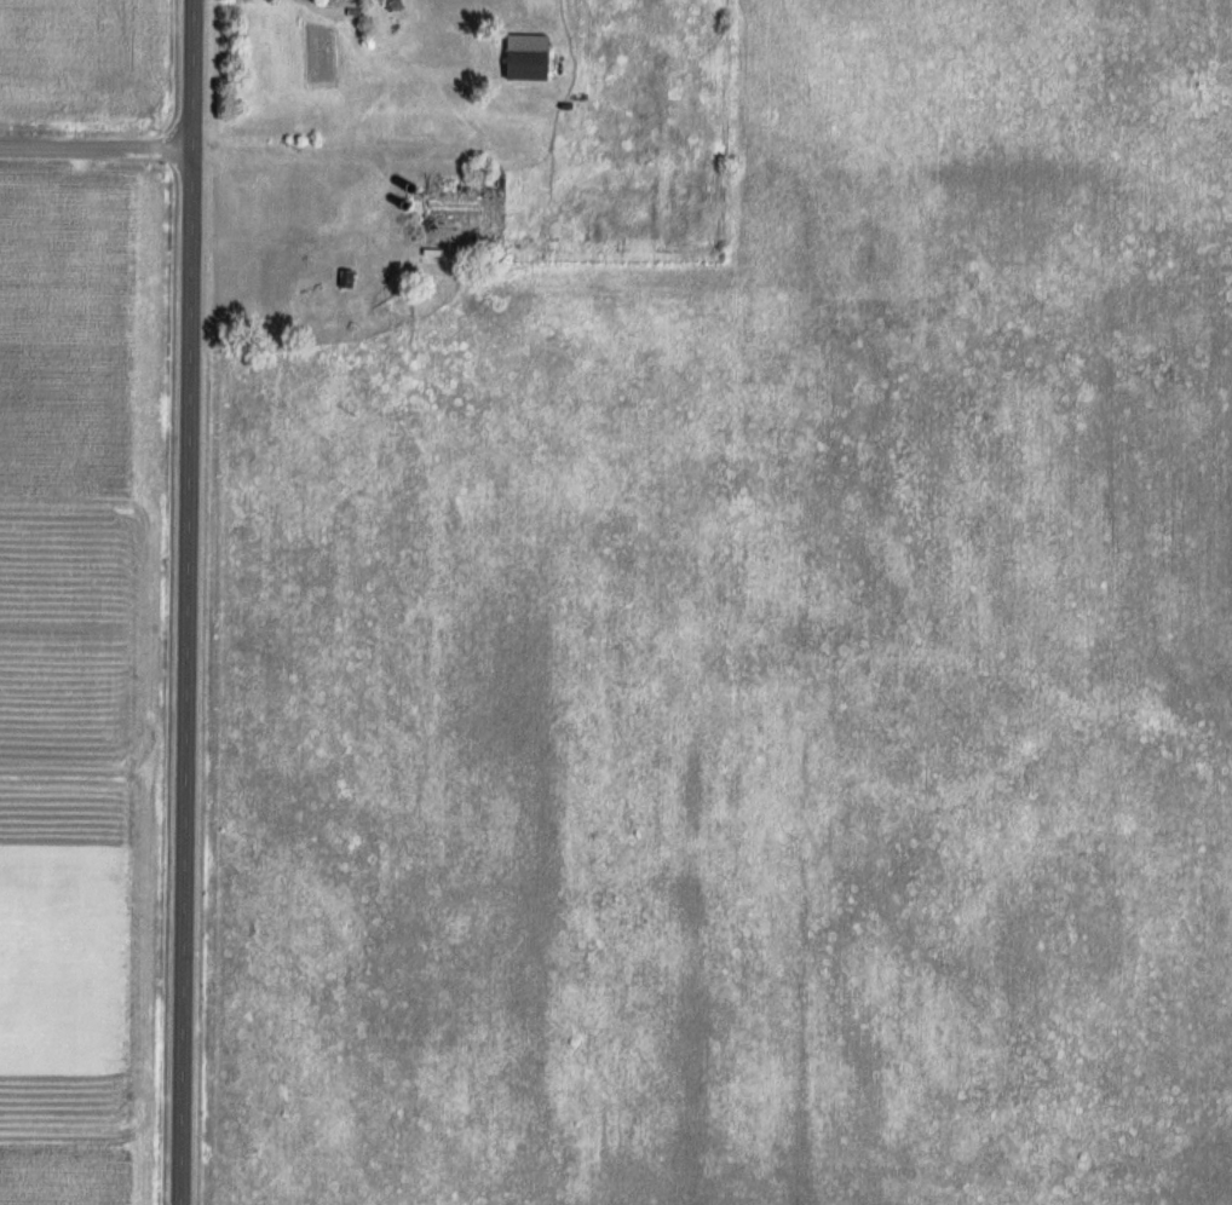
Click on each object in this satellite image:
building: (518, 57)
road: (96, 150)
building: (326, 171)
road: (186, 602)

